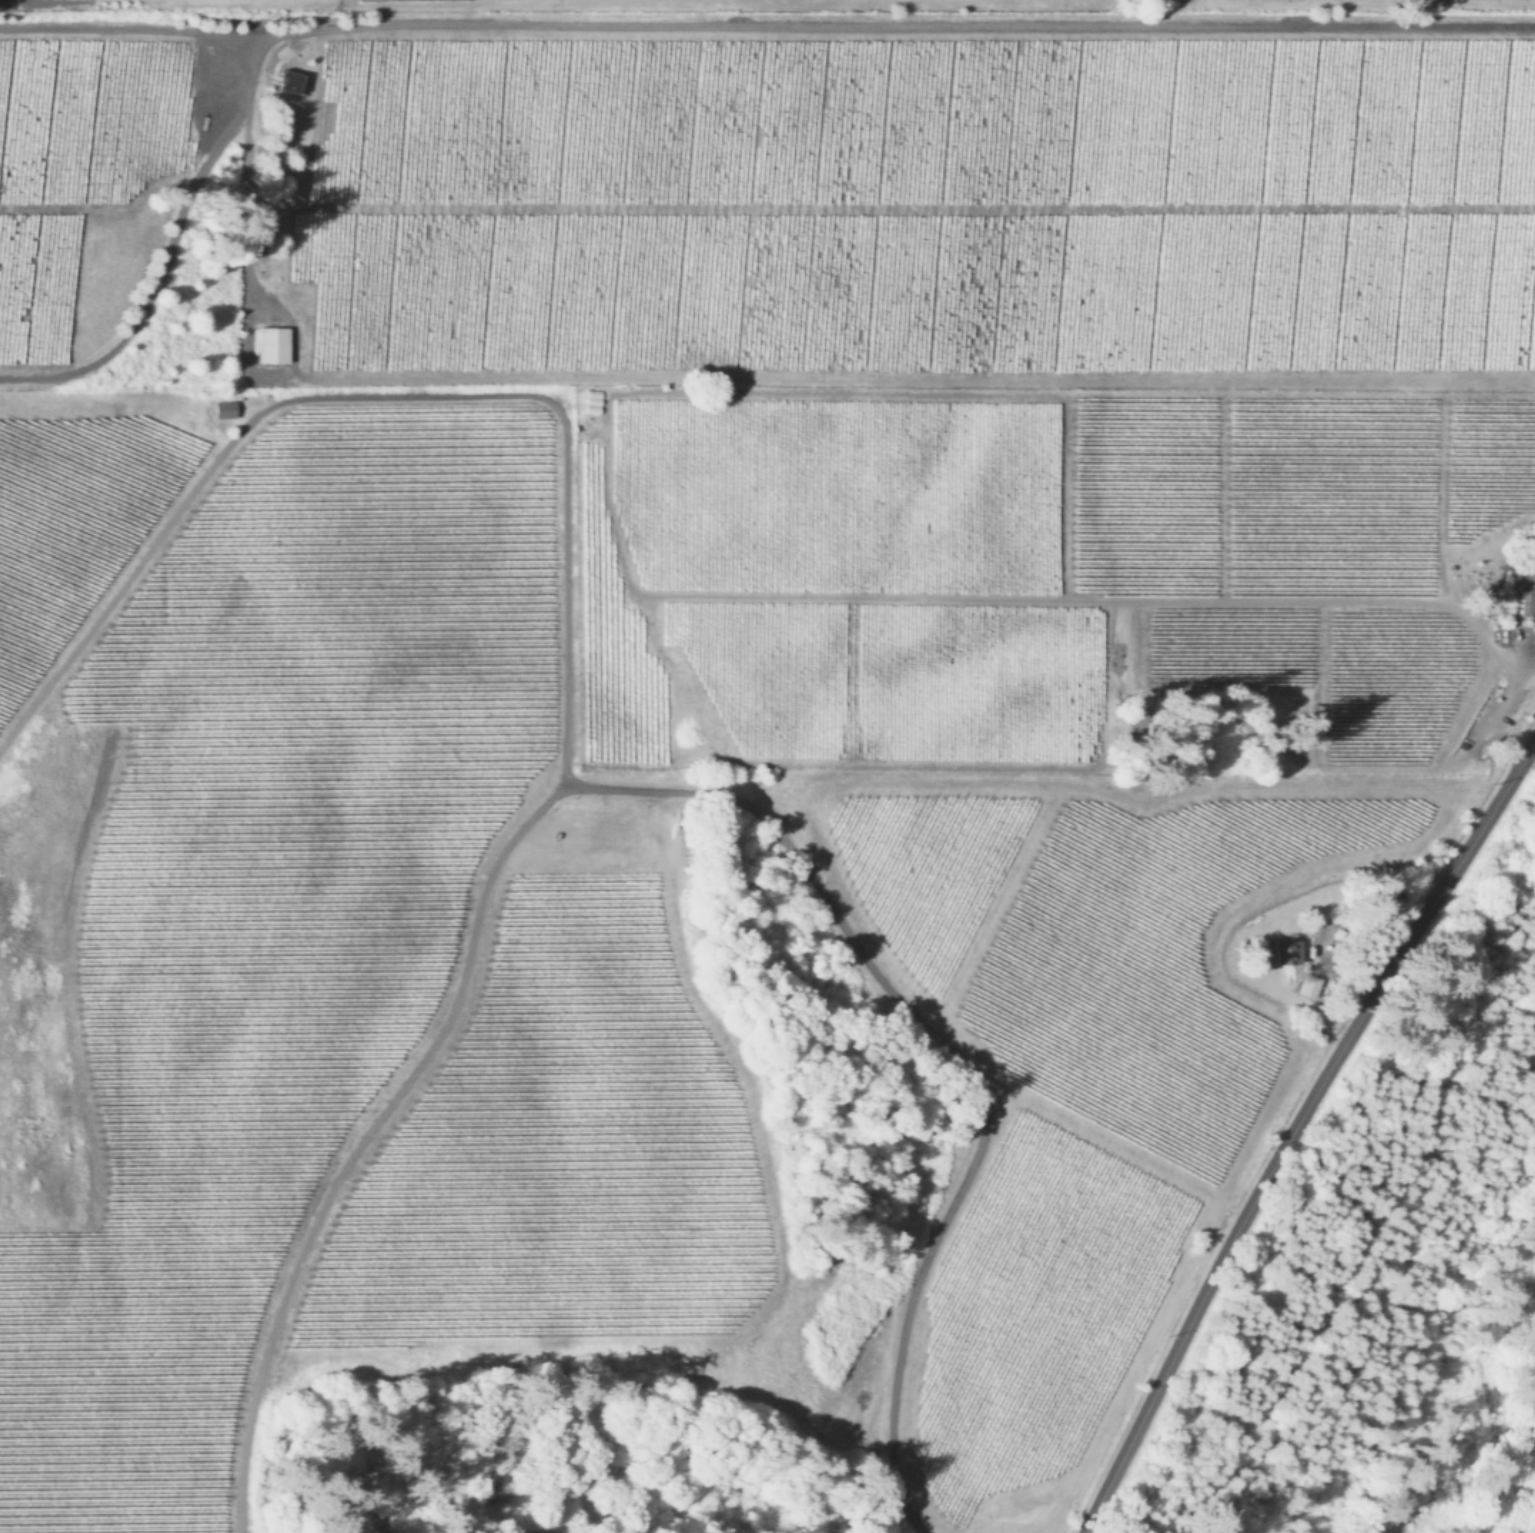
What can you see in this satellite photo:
road: (775, 28)
building: (291, 80)
building: (273, 344)
building: (226, 407)
building: (1528, 593)
road: (747, 795)
road: (1378, 910)
building: (1290, 949)
building: (1311, 984)
crop: (645, 999)
road: (1295, 1126)

